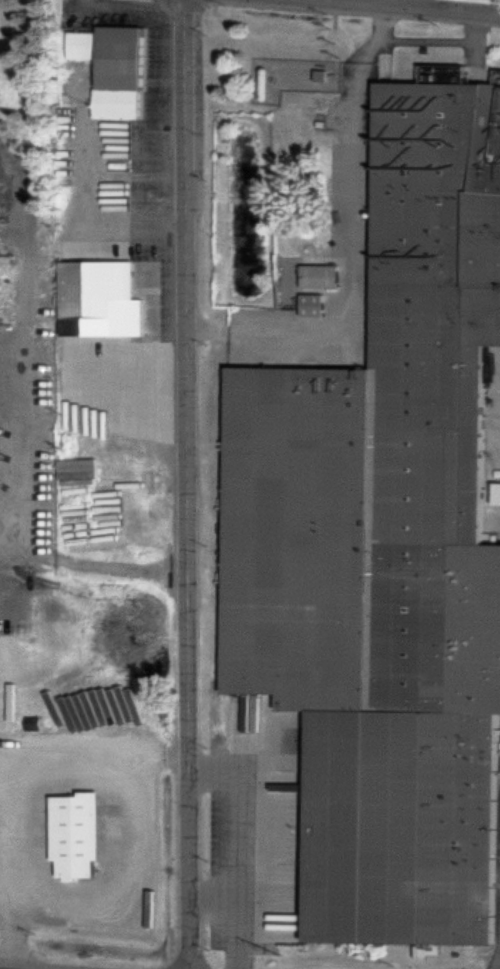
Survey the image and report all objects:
road: (418, 4)
road: (411, 7)
building: (114, 64)
building: (12, 85)
road: (358, 238)
road: (24, 249)
building: (323, 276)
building: (8, 294)
building: (101, 294)
building: (316, 305)
road: (14, 443)
road: (190, 484)
building: (389, 542)
road: (100, 566)
road: (10, 576)
road: (94, 757)
building: (79, 830)
road: (233, 841)
road: (18, 881)
road: (212, 898)

